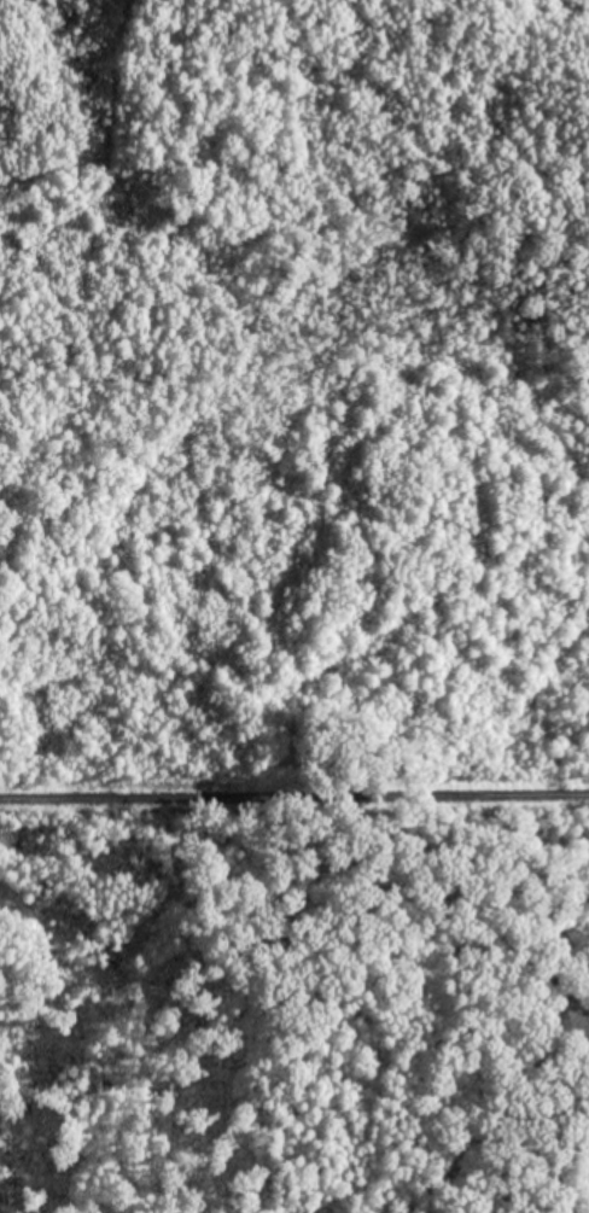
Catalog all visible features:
road: (294, 800)

